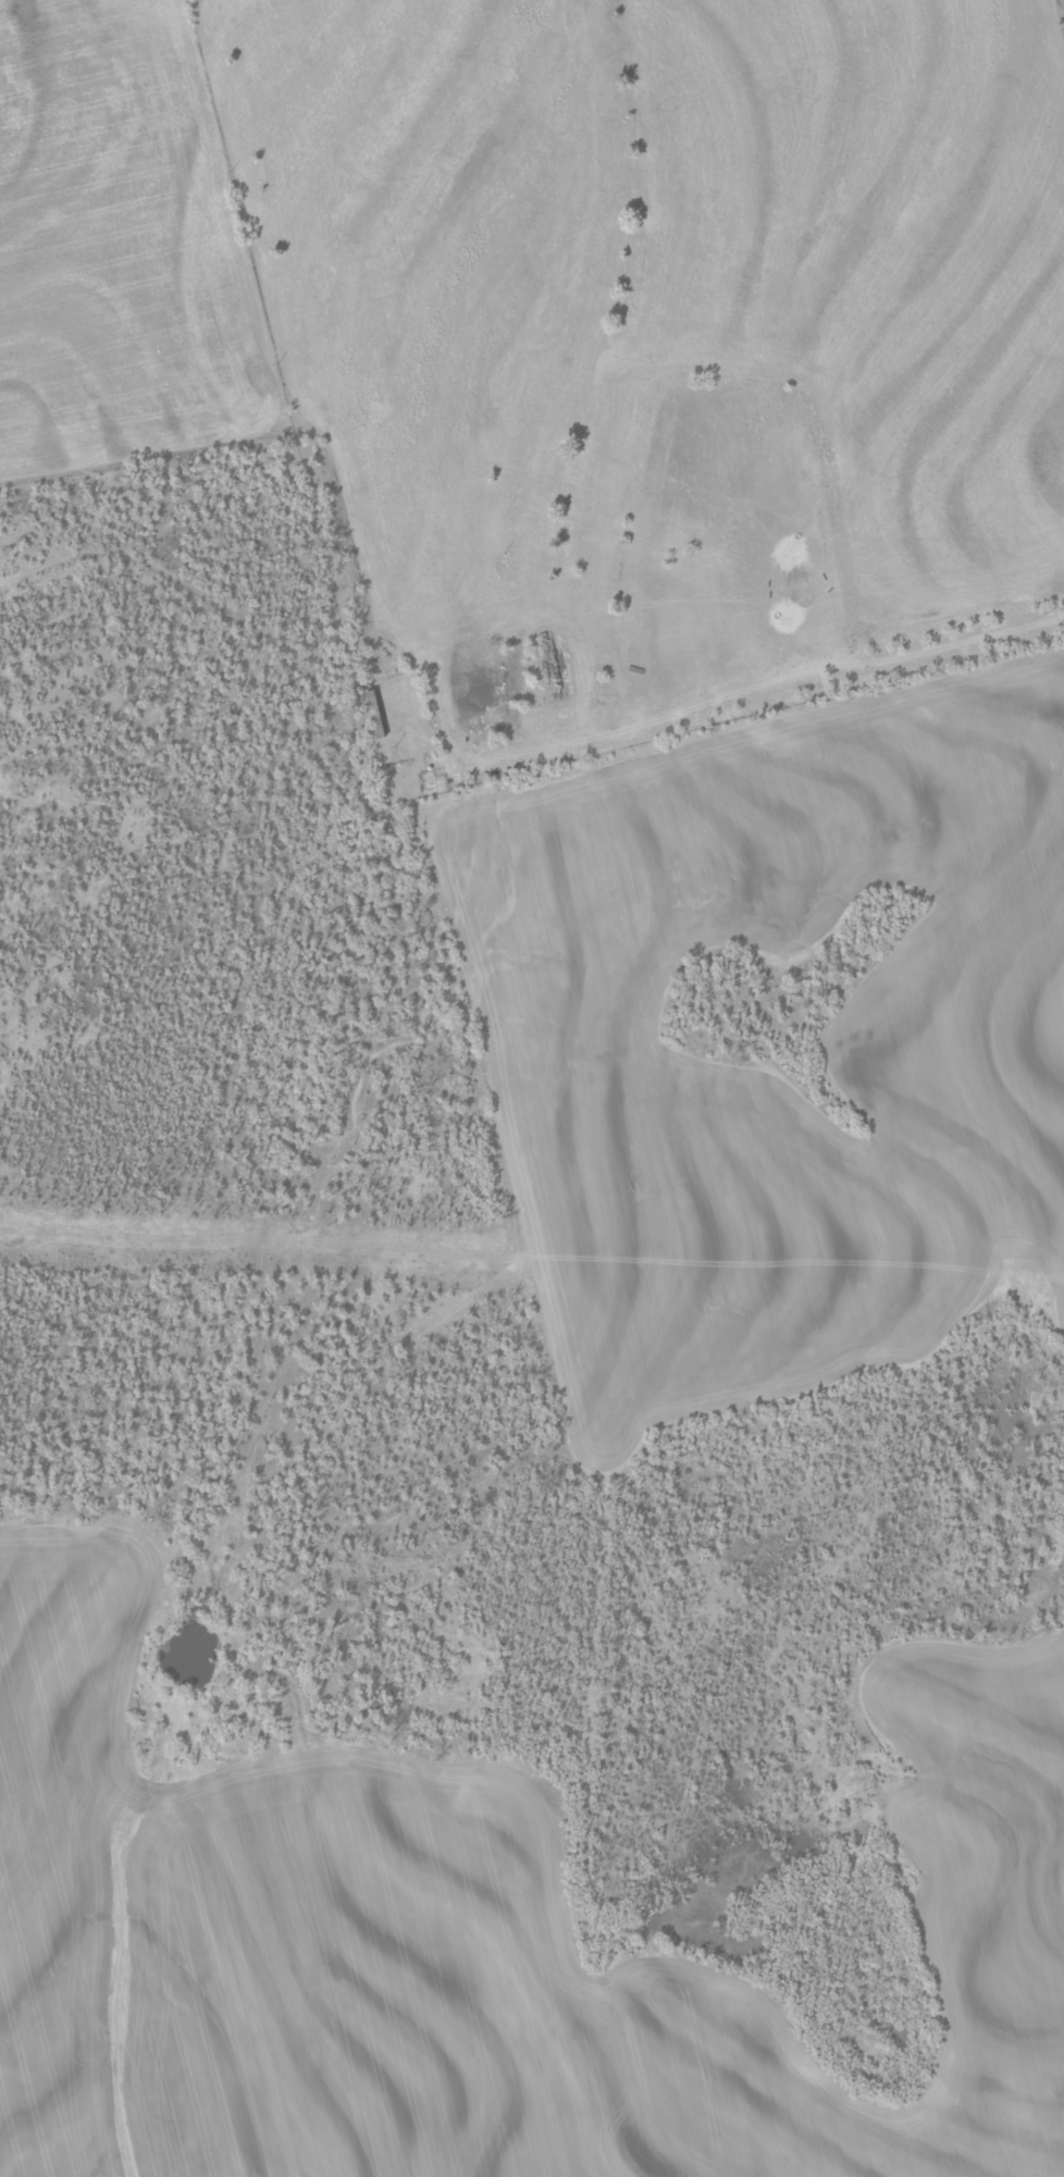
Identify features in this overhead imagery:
building: (375, 713)

